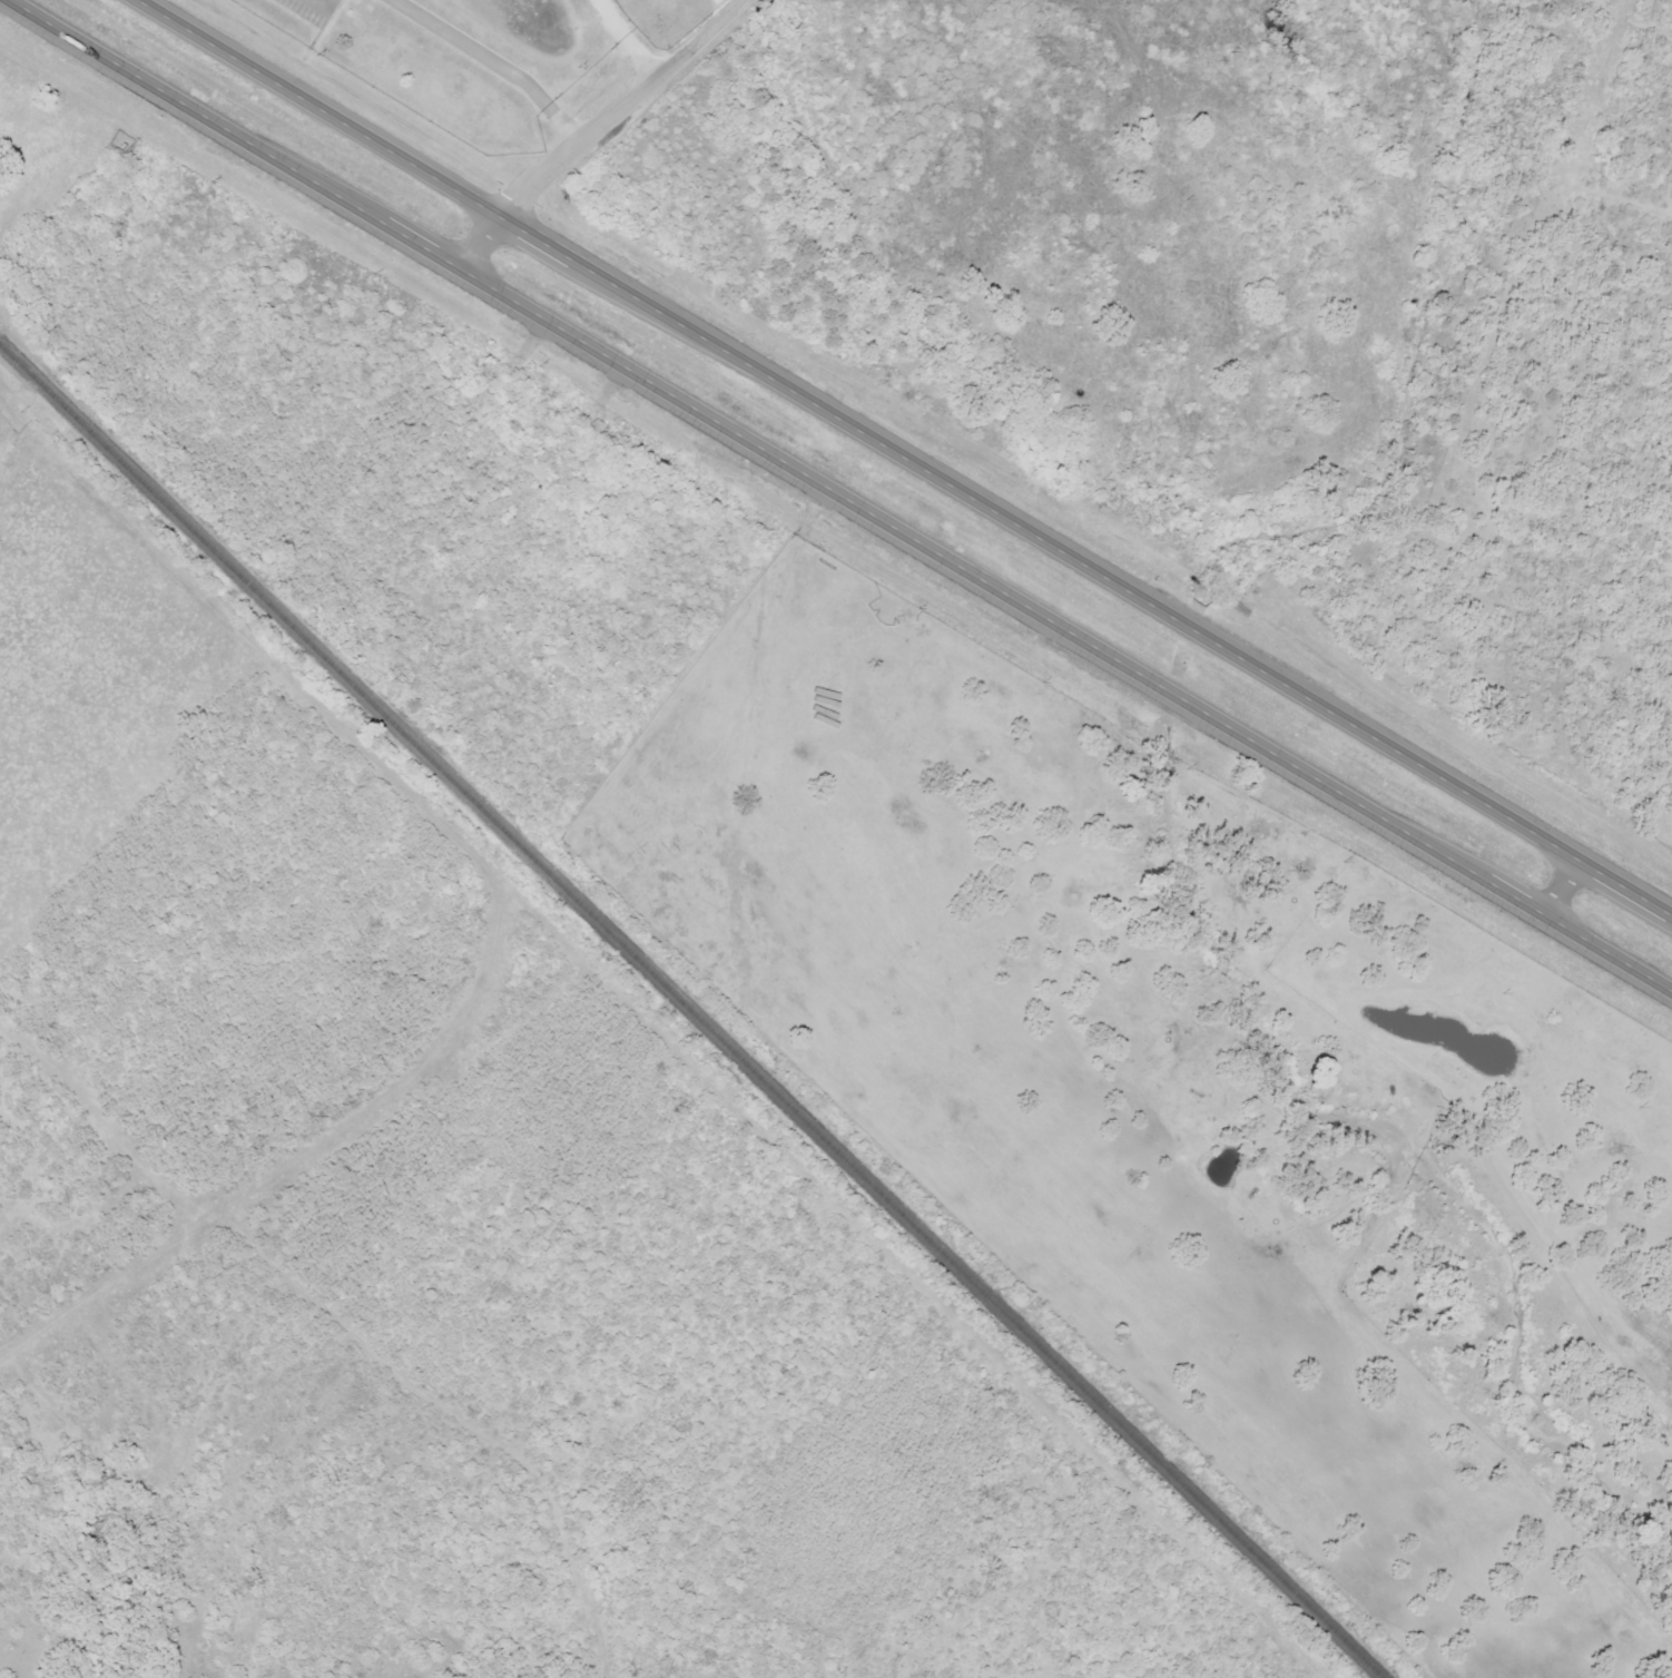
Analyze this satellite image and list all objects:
road: (589, 126)
road: (905, 467)
road: (838, 494)
road: (1556, 887)
railway: (689, 1011)
road: (424, 1429)

